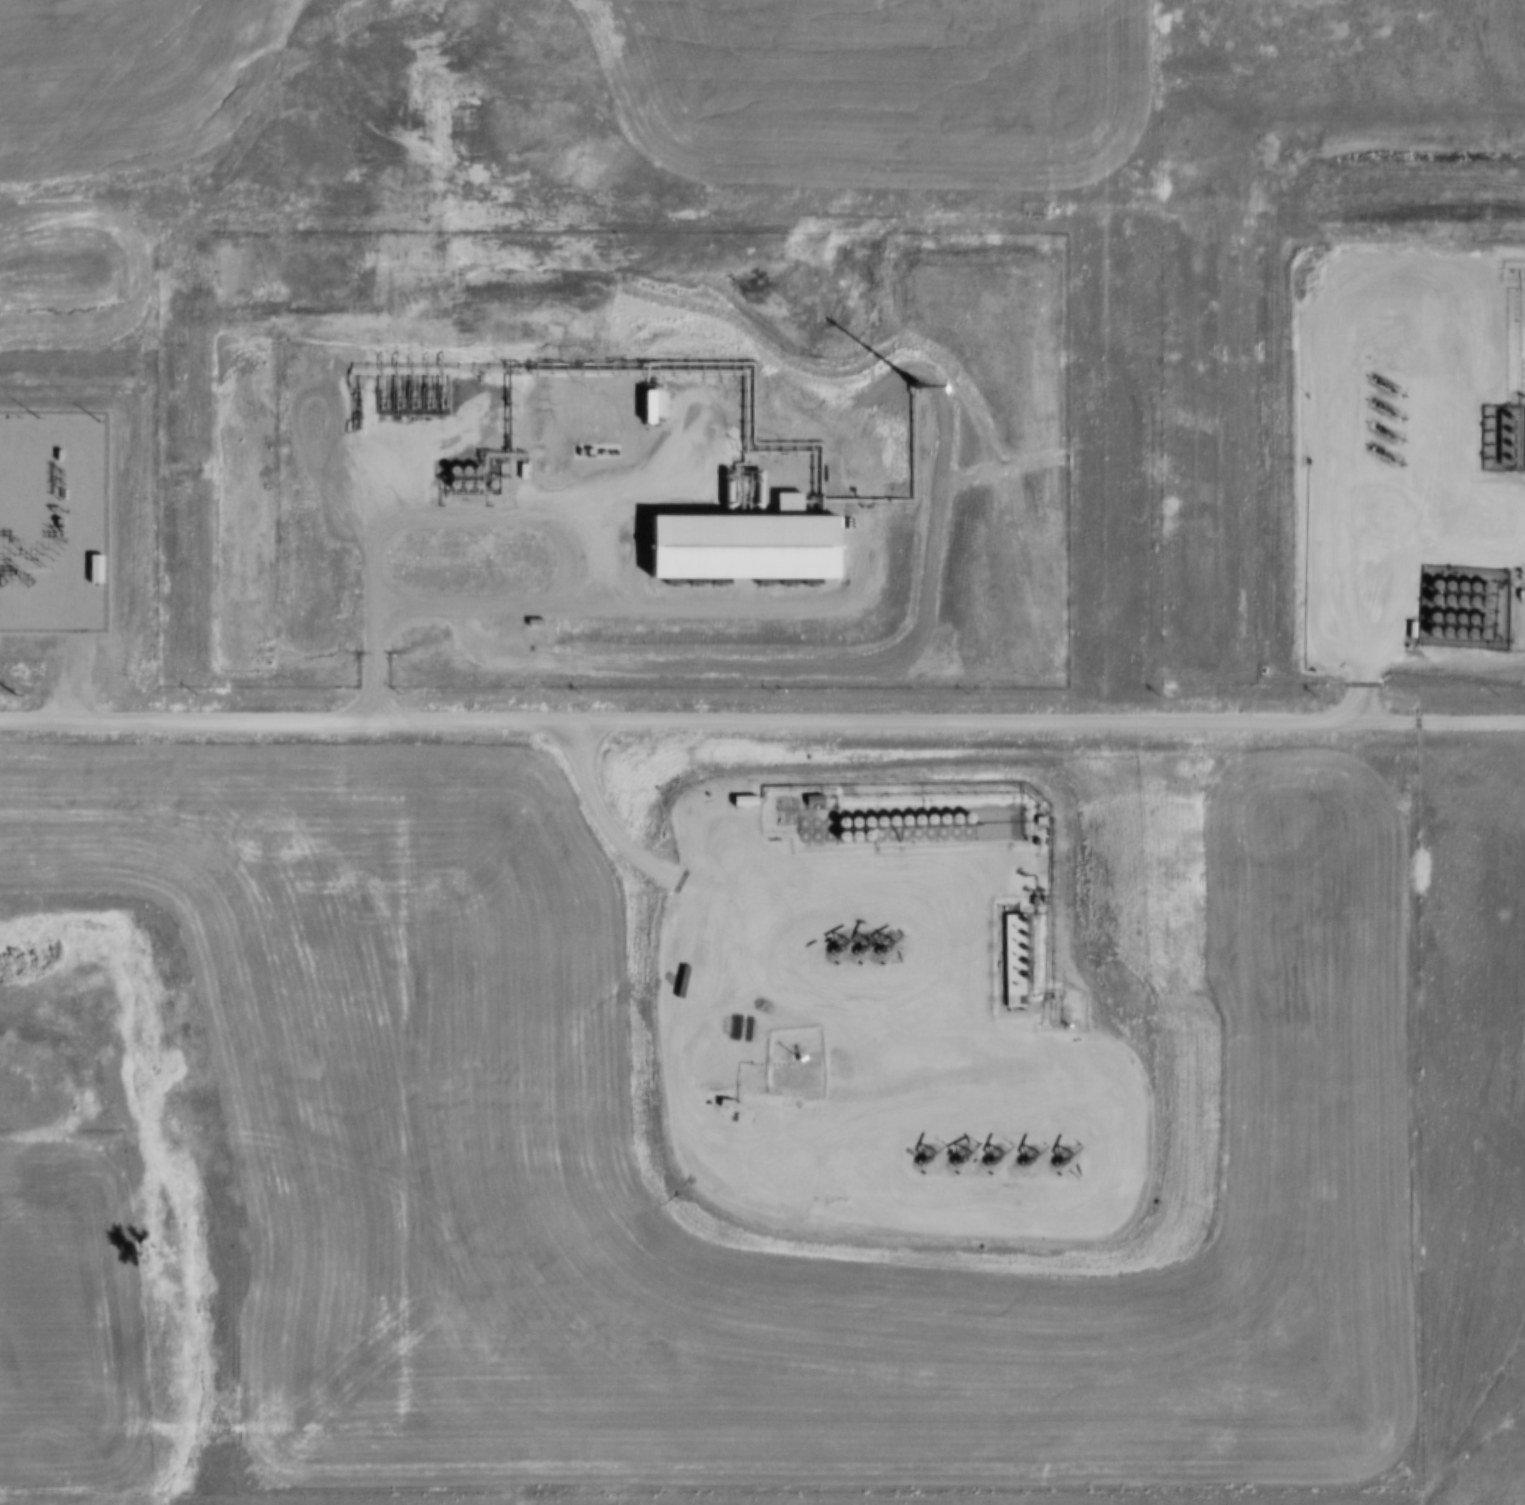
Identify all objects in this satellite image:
power substation: (49, 519)
building: (88, 566)

